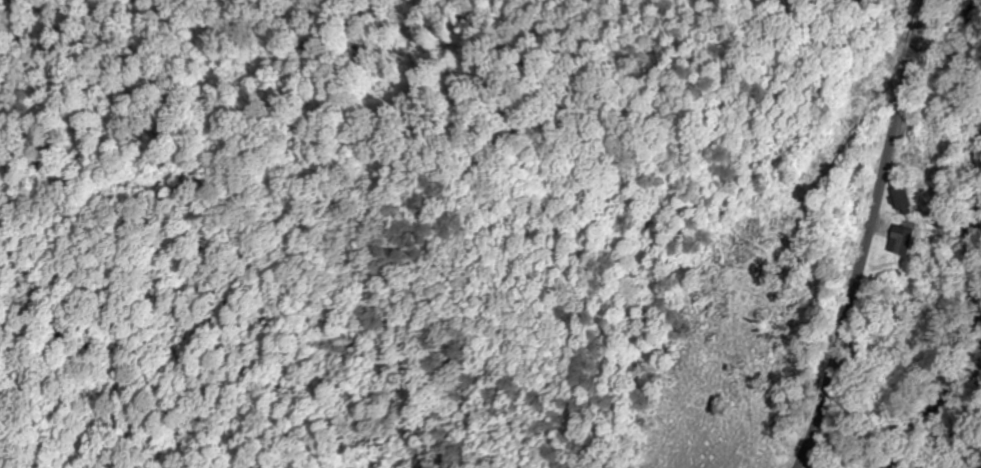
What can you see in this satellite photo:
road: (875, 61)
road: (911, 61)
building: (899, 199)
building: (902, 240)
road: (852, 297)

